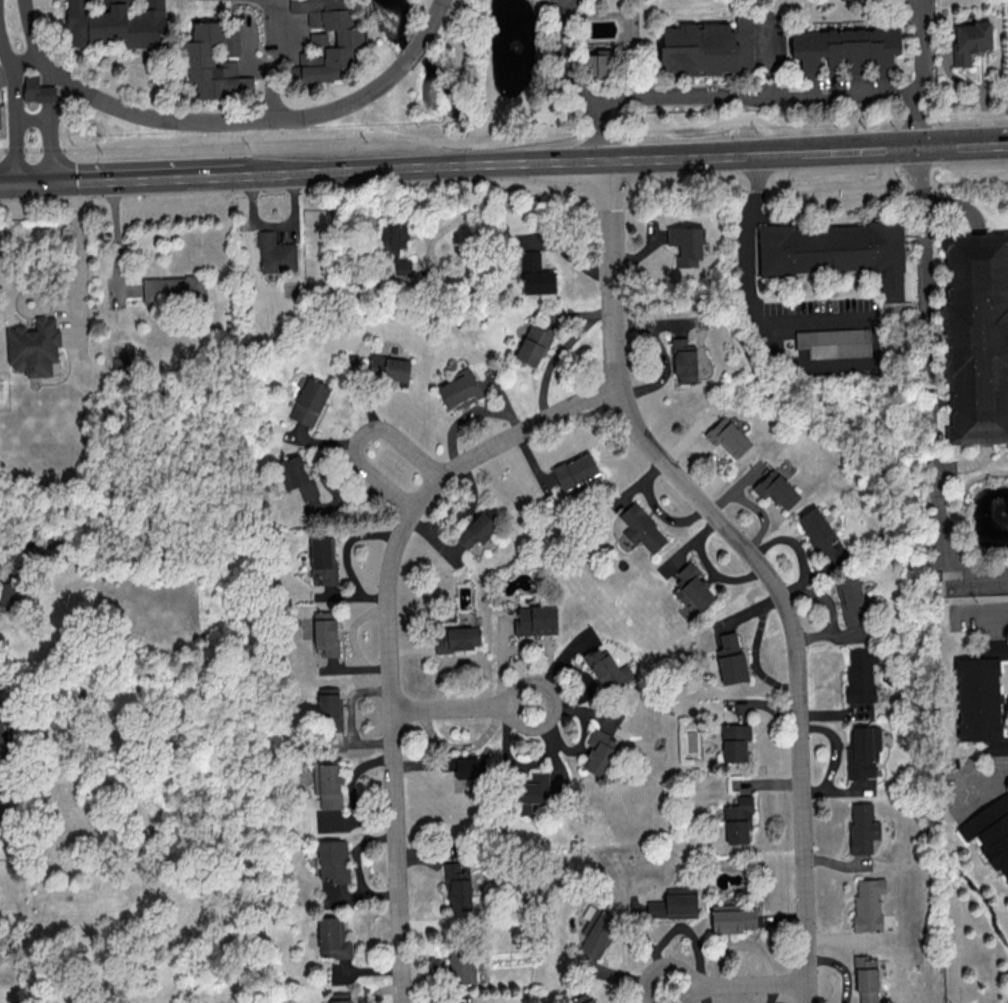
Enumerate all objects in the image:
building: (841, 0)
road: (261, 2)
road: (552, 5)
road: (562, 5)
road: (432, 22)
building: (116, 23)
road: (30, 31)
building: (348, 38)
building: (970, 40)
building: (708, 47)
building: (845, 48)
road: (412, 52)
building: (198, 58)
road: (281, 59)
road: (24, 61)
building: (598, 63)
road: (770, 67)
road: (921, 72)
road: (569, 86)
building: (37, 89)
road: (760, 102)
road: (17, 110)
road: (53, 116)
road: (50, 121)
road: (223, 122)
road: (965, 142)
road: (506, 143)
traffic signals: (923, 144)
road: (861, 146)
road: (705, 153)
road: (432, 164)
road: (233, 173)
road: (136, 177)
traffic signals: (58, 181)
road: (36, 182)
road: (7, 183)
road: (796, 188)
road: (961, 204)
road: (924, 224)
road: (115, 235)
road: (81, 243)
building: (686, 244)
road: (429, 246)
building: (836, 252)
building: (275, 253)
building: (535, 274)
building: (174, 288)
road: (749, 297)
building: (976, 336)
building: (834, 342)
building: (533, 344)
building: (34, 347)
building: (684, 361)
building: (120, 364)
building: (389, 369)
building: (460, 389)
building: (309, 401)
building: (728, 436)
road: (362, 437)
road: (968, 464)
road: (933, 468)
building: (575, 470)
building: (299, 477)
road: (971, 482)
building: (776, 489)
fountain: (1004, 513)
building: (479, 527)
building: (641, 528)
building: (817, 531)
road: (11, 546)
building: (323, 558)
road: (755, 560)
building: (691, 587)
building: (11, 595)
building: (851, 599)
road: (985, 615)
building: (535, 620)
building: (325, 632)
road: (389, 632)
building: (457, 639)
building: (730, 658)
building: (606, 668)
building: (860, 675)
building: (981, 697)
building: (329, 708)
road: (461, 708)
building: (0, 732)
building: (734, 741)
building: (599, 752)
building: (863, 753)
building: (464, 772)
road: (984, 779)
building: (329, 785)
building: (530, 792)
building: (738, 820)
building: (862, 827)
building: (990, 832)
building: (332, 860)
building: (458, 885)
building: (674, 903)
building: (868, 903)
building: (733, 918)
building: (598, 932)
building: (332, 938)
building: (462, 965)
road: (842, 968)
building: (866, 979)
road: (737, 985)
building: (340, 997)
building: (583, 998)

